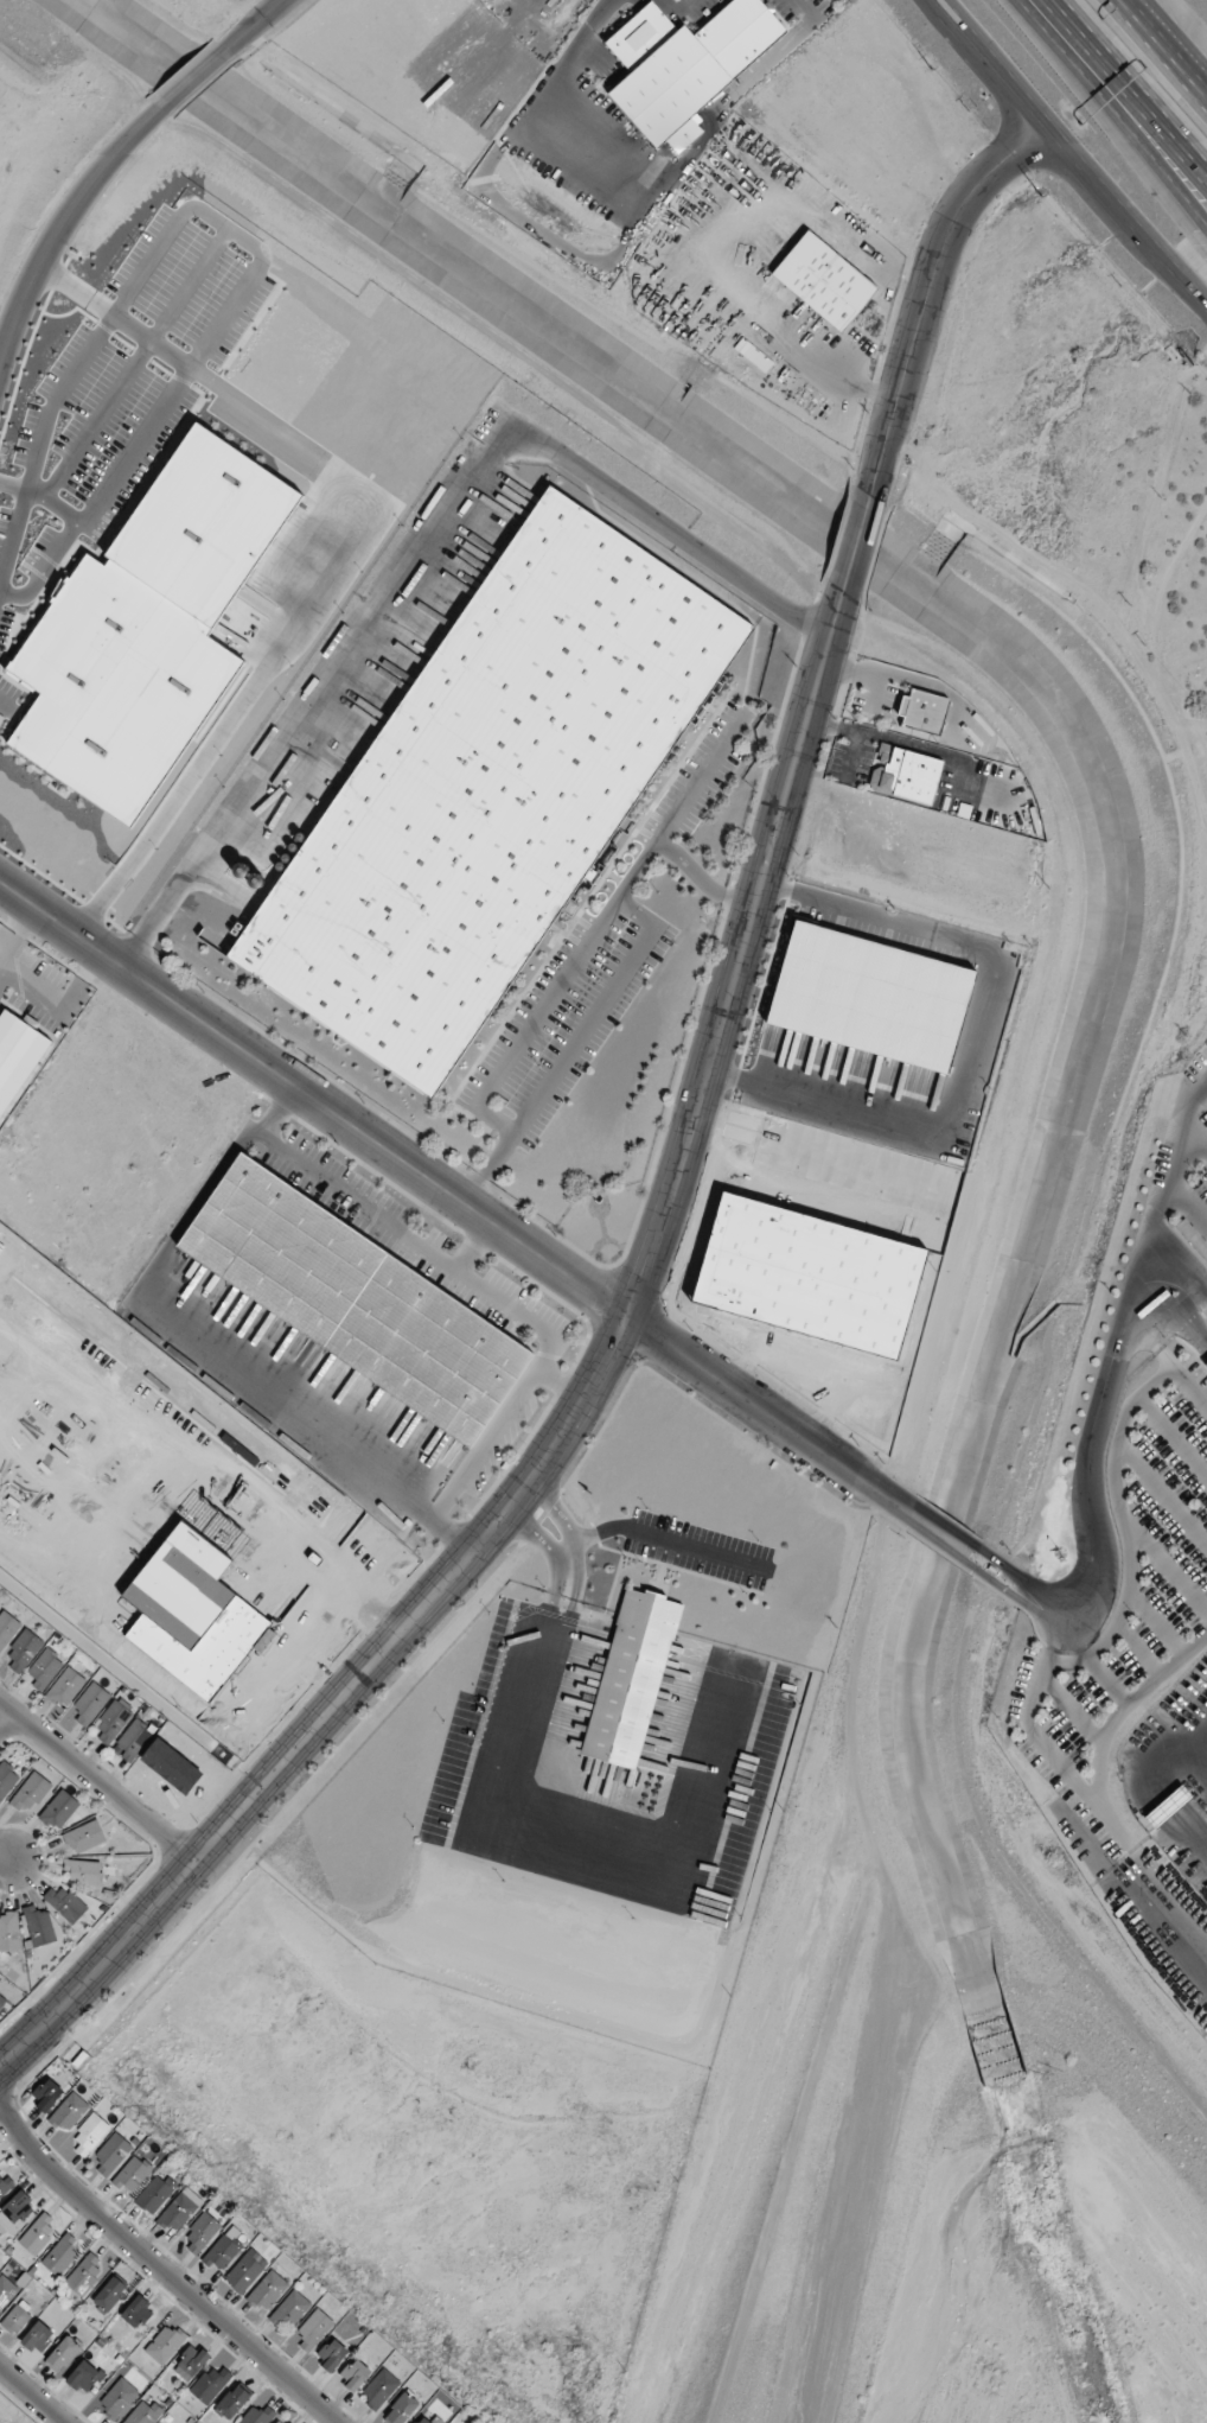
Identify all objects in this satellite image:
road: (803, 6)
road: (1126, 11)
road: (257, 24)
road: (1171, 57)
road: (1171, 68)
road: (191, 81)
road: (1132, 81)
road: (1124, 108)
road: (1066, 165)
road: (53, 227)
road: (229, 227)
building: (823, 281)
road: (927, 294)
road: (114, 314)
road: (14, 485)
road: (56, 502)
road: (14, 533)
road: (856, 542)
road: (44, 568)
road: (851, 673)
building: (924, 711)
building: (906, 774)
building: (487, 791)
road: (17, 934)
road: (58, 1006)
road: (977, 1039)
building: (17, 1056)
road: (312, 1104)
road: (277, 1114)
road: (384, 1222)
road: (472, 1249)
building: (351, 1300)
road: (1123, 1355)
building: (1206, 1362)
road: (261, 1381)
road: (574, 1418)
road: (766, 1419)
road: (485, 1445)
road: (442, 1532)
road: (570, 1532)
road: (671, 1540)
road: (547, 1545)
road: (956, 1545)
road: (1033, 1601)
building: (7, 1628)
building: (641, 1646)
building: (21, 1652)
building: (43, 1670)
building: (65, 1687)
building: (88, 1705)
road: (8, 1724)
building: (121, 1731)
building: (7, 1779)
road: (97, 1780)
road: (1085, 1785)
building: (30, 1793)
building: (58, 1810)
building: (84, 1837)
road: (585, 1839)
road: (5, 1855)
building: (83, 1872)
building: (65, 1903)
building: (38, 1926)
building: (8, 1931)
building: (2, 2003)
building: (46, 2094)
building: (69, 2112)
building: (89, 2135)
building: (110, 2154)
building: (132, 2174)
building: (5, 2184)
building: (154, 2193)
building: (17, 2211)
building: (179, 2211)
building: (200, 2233)
building: (38, 2234)
building: (222, 2251)
building: (60, 2253)
road: (155, 2268)
building: (245, 2271)
building: (84, 2275)
building: (6, 2291)
building: (267, 2291)
building: (109, 2294)
building: (289, 2310)
building: (138, 2311)
building: (15, 2320)
building: (314, 2329)
building: (38, 2338)
building: (165, 2343)
building: (62, 2354)
building: (332, 2355)
building: (191, 2361)
building: (353, 2376)
building: (83, 2377)
building: (210, 2384)
building: (379, 2390)
road: (36, 2392)
building: (117, 2399)
building: (232, 2402)
building: (401, 2409)
building: (145, 2412)
building: (422, 2419)

